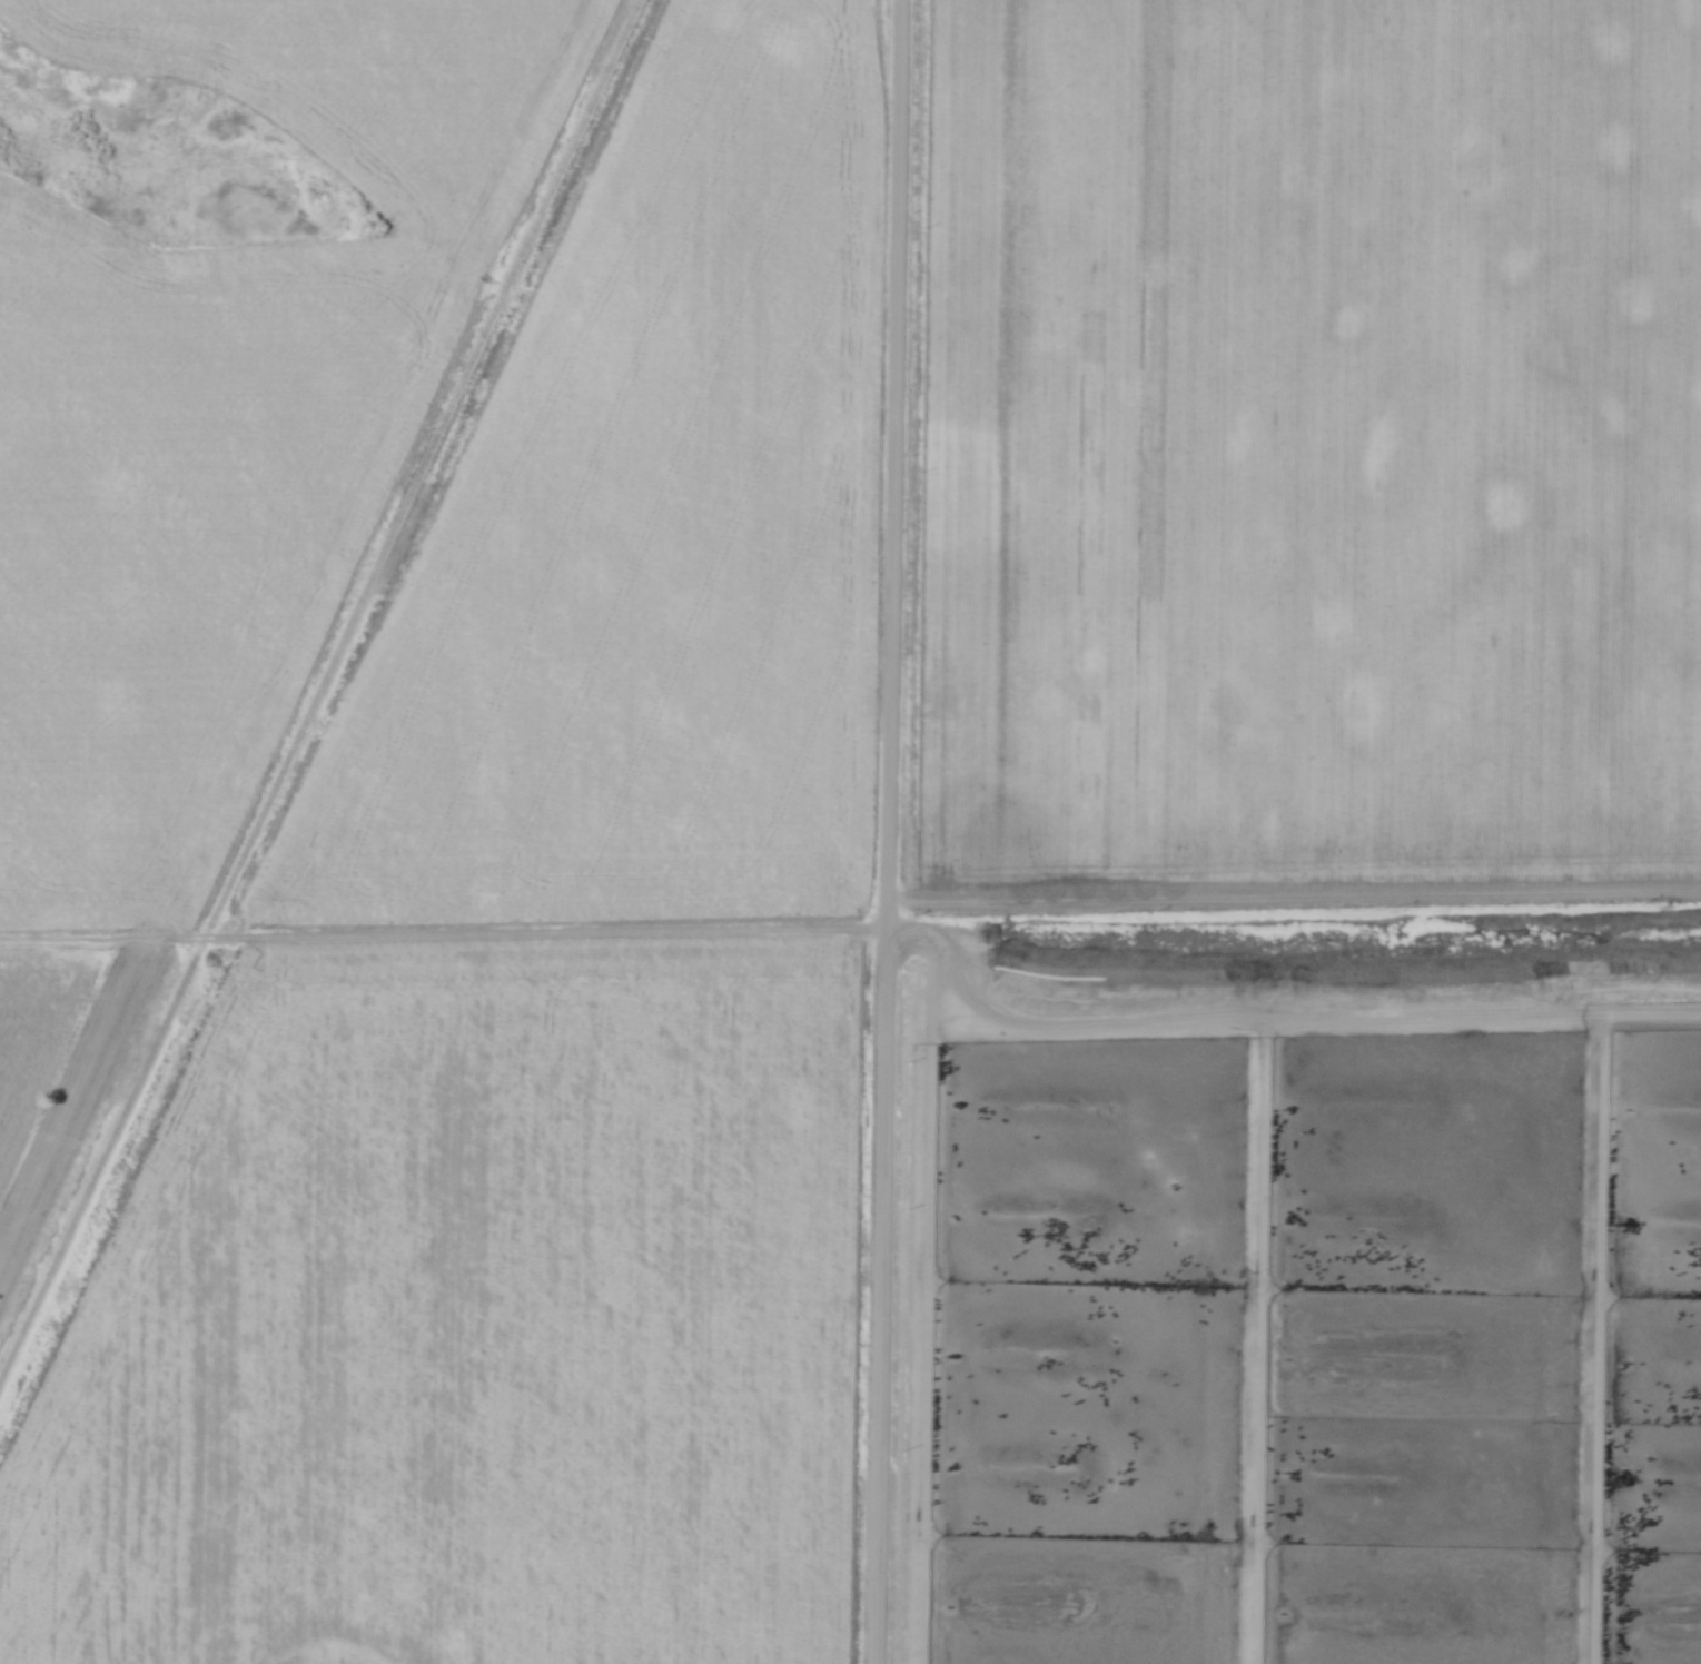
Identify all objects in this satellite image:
crop: (231, 416)
crop: (1314, 442)
crop: (653, 532)
railway: (320, 704)
road: (889, 832)
crop: (41, 1036)

